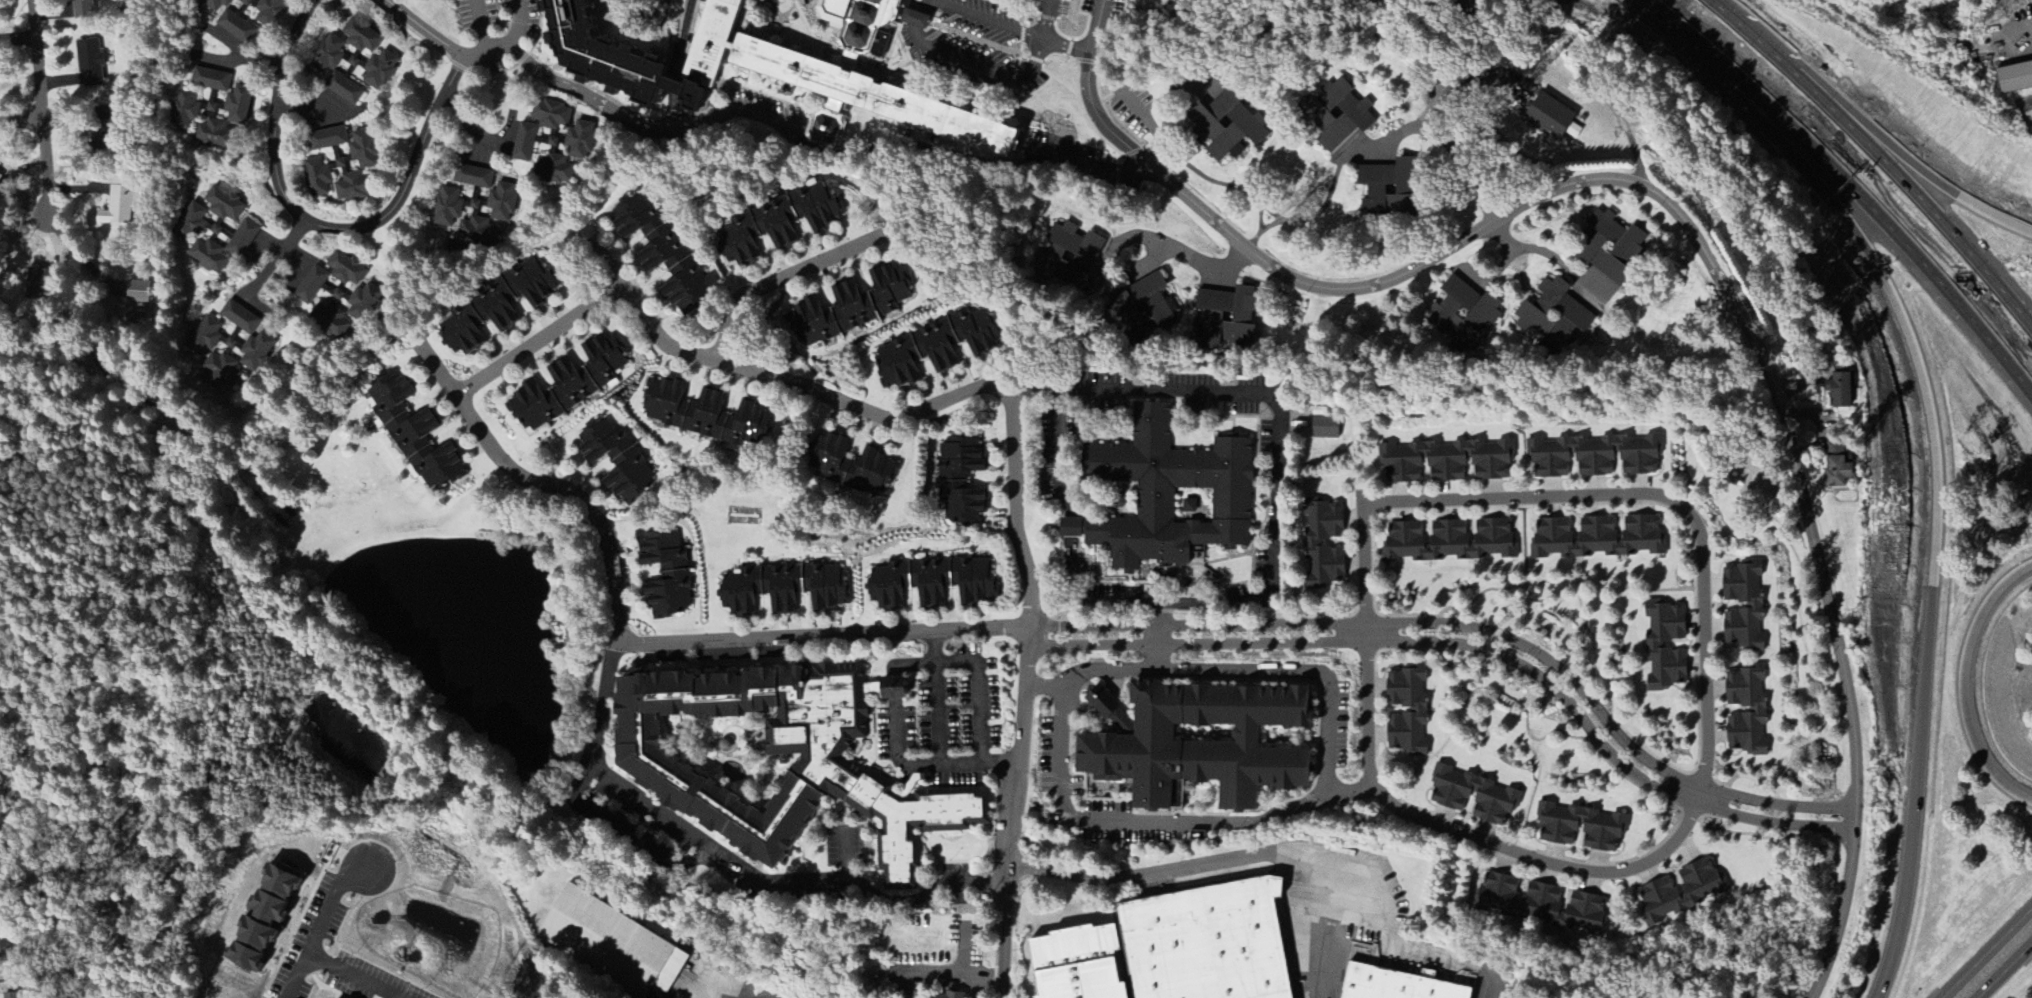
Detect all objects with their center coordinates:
building: (249, 3)
building: (84, 10)
building: (270, 12)
road: (921, 17)
road: (987, 19)
building: (229, 21)
building: (792, 26)
road: (476, 27)
building: (655, 27)
road: (1083, 30)
building: (360, 37)
road: (242, 47)
building: (326, 55)
road: (462, 57)
building: (355, 61)
building: (89, 63)
road: (984, 64)
building: (780, 68)
building: (379, 71)
building: (2014, 78)
building: (209, 80)
road: (1813, 88)
building: (343, 89)
building: (211, 103)
road: (310, 105)
building: (237, 106)
road: (1164, 106)
building: (183, 110)
road: (40, 115)
building: (550, 115)
building: (1336, 115)
building: (1549, 118)
road: (20, 121)
road: (1765, 122)
building: (1226, 125)
road: (471, 131)
building: (212, 135)
building: (326, 139)
road: (1439, 139)
building: (524, 143)
road: (812, 153)
building: (565, 154)
building: (355, 167)
building: (472, 177)
building: (317, 178)
building: (1, 179)
road: (1846, 180)
building: (1388, 188)
building: (502, 202)
building: (223, 204)
road: (1971, 206)
building: (119, 208)
building: (446, 208)
building: (632, 218)
road: (1680, 218)
building: (189, 223)
building: (777, 224)
road: (314, 226)
building: (476, 232)
road: (1973, 244)
building: (223, 249)
building: (1611, 249)
road: (1183, 253)
building: (1068, 257)
road: (276, 259)
road: (1549, 260)
road: (604, 265)
building: (345, 270)
building: (674, 270)
road: (785, 276)
building: (530, 282)
building: (38, 284)
building: (310, 286)
building: (137, 292)
building: (870, 299)
building: (363, 304)
building: (494, 307)
building: (1142, 310)
road: (581, 312)
building: (1463, 316)
building: (1554, 318)
building: (1227, 319)
building: (330, 322)
building: (809, 325)
building: (974, 331)
building: (460, 333)
building: (204, 337)
building: (249, 338)
building: (934, 347)
building: (896, 365)
building: (220, 373)
building: (570, 384)
building: (1840, 386)
building: (664, 403)
building: (704, 415)
building: (746, 426)
building: (1324, 428)
building: (412, 435)
building: (601, 444)
road: (1057, 454)
building: (1595, 456)
building: (829, 457)
building: (1444, 462)
building: (873, 472)
building: (1836, 472)
building: (628, 478)
building: (960, 480)
building: (1167, 495)
road: (1274, 517)
road: (1070, 527)
building: (1596, 538)
road: (1361, 540)
building: (1448, 540)
building: (1311, 543)
building: (665, 575)
building: (952, 581)
building: (887, 585)
building: (825, 587)
building: (780, 588)
building: (739, 592)
road: (1931, 594)
road: (1087, 602)
building: (1753, 607)
road: (1469, 629)
road: (818, 635)
road: (1468, 646)
building: (1654, 646)
road: (606, 655)
road: (910, 664)
road: (1300, 672)
road: (1964, 683)
road: (1024, 688)
road: (894, 689)
road: (976, 691)
building: (1417, 711)
building: (1757, 711)
building: (1110, 712)
road: (936, 735)
building: (1199, 744)
road: (896, 754)
building: (770, 759)
building: (1472, 796)
road: (1156, 819)
building: (1580, 828)
road: (1279, 854)
road: (741, 868)
building: (1680, 892)
building: (1517, 899)
building: (1584, 914)
building: (260, 917)
road: (305, 929)
building: (1207, 943)
building: (612, 944)
road: (1986, 952)
building: (1076, 967)
road: (2005, 970)
road: (333, 977)
road: (79, 979)
building: (1394, 984)
road: (758, 995)
building: (948, 995)
building: (9, 996)

